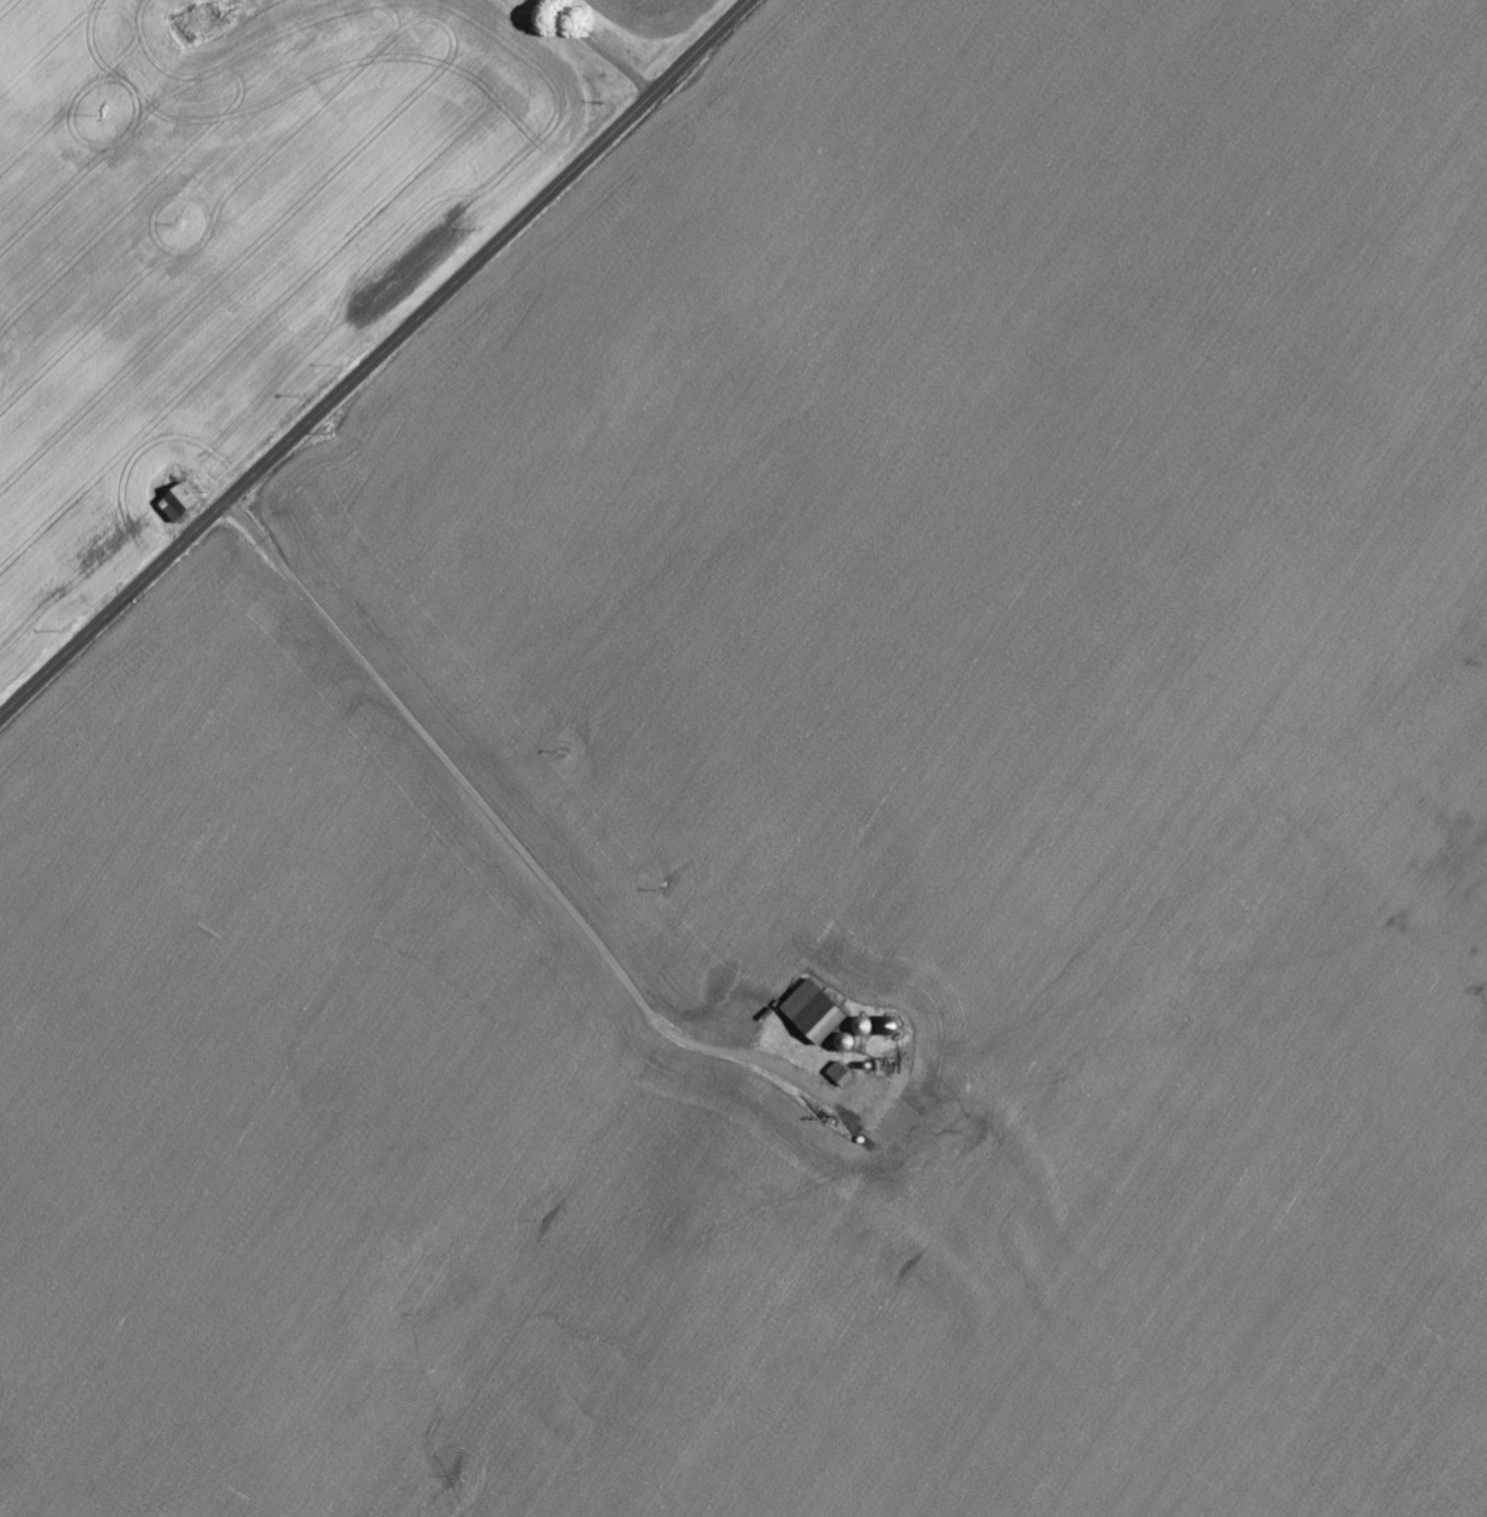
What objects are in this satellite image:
road: (559, 47)
road: (375, 359)
building: (182, 502)
building: (819, 1012)
building: (845, 1074)

